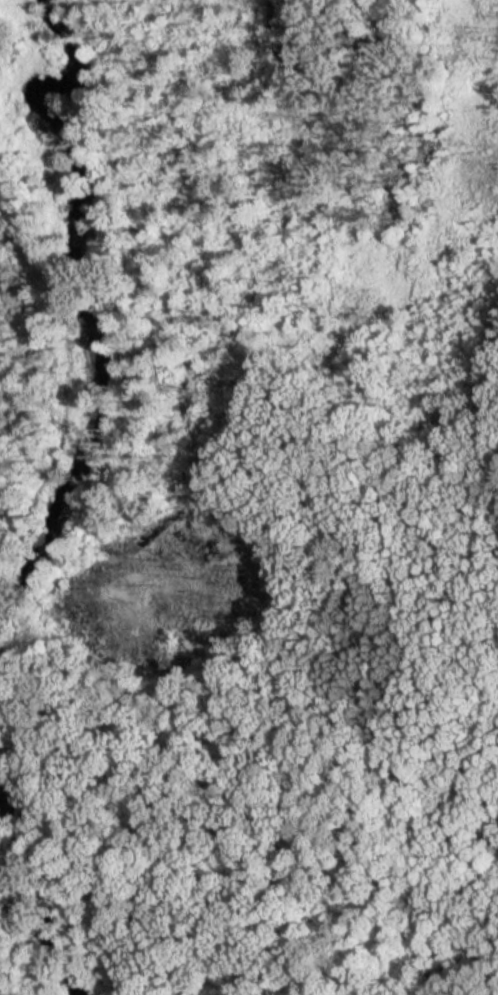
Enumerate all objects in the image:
park: (271, 511)

